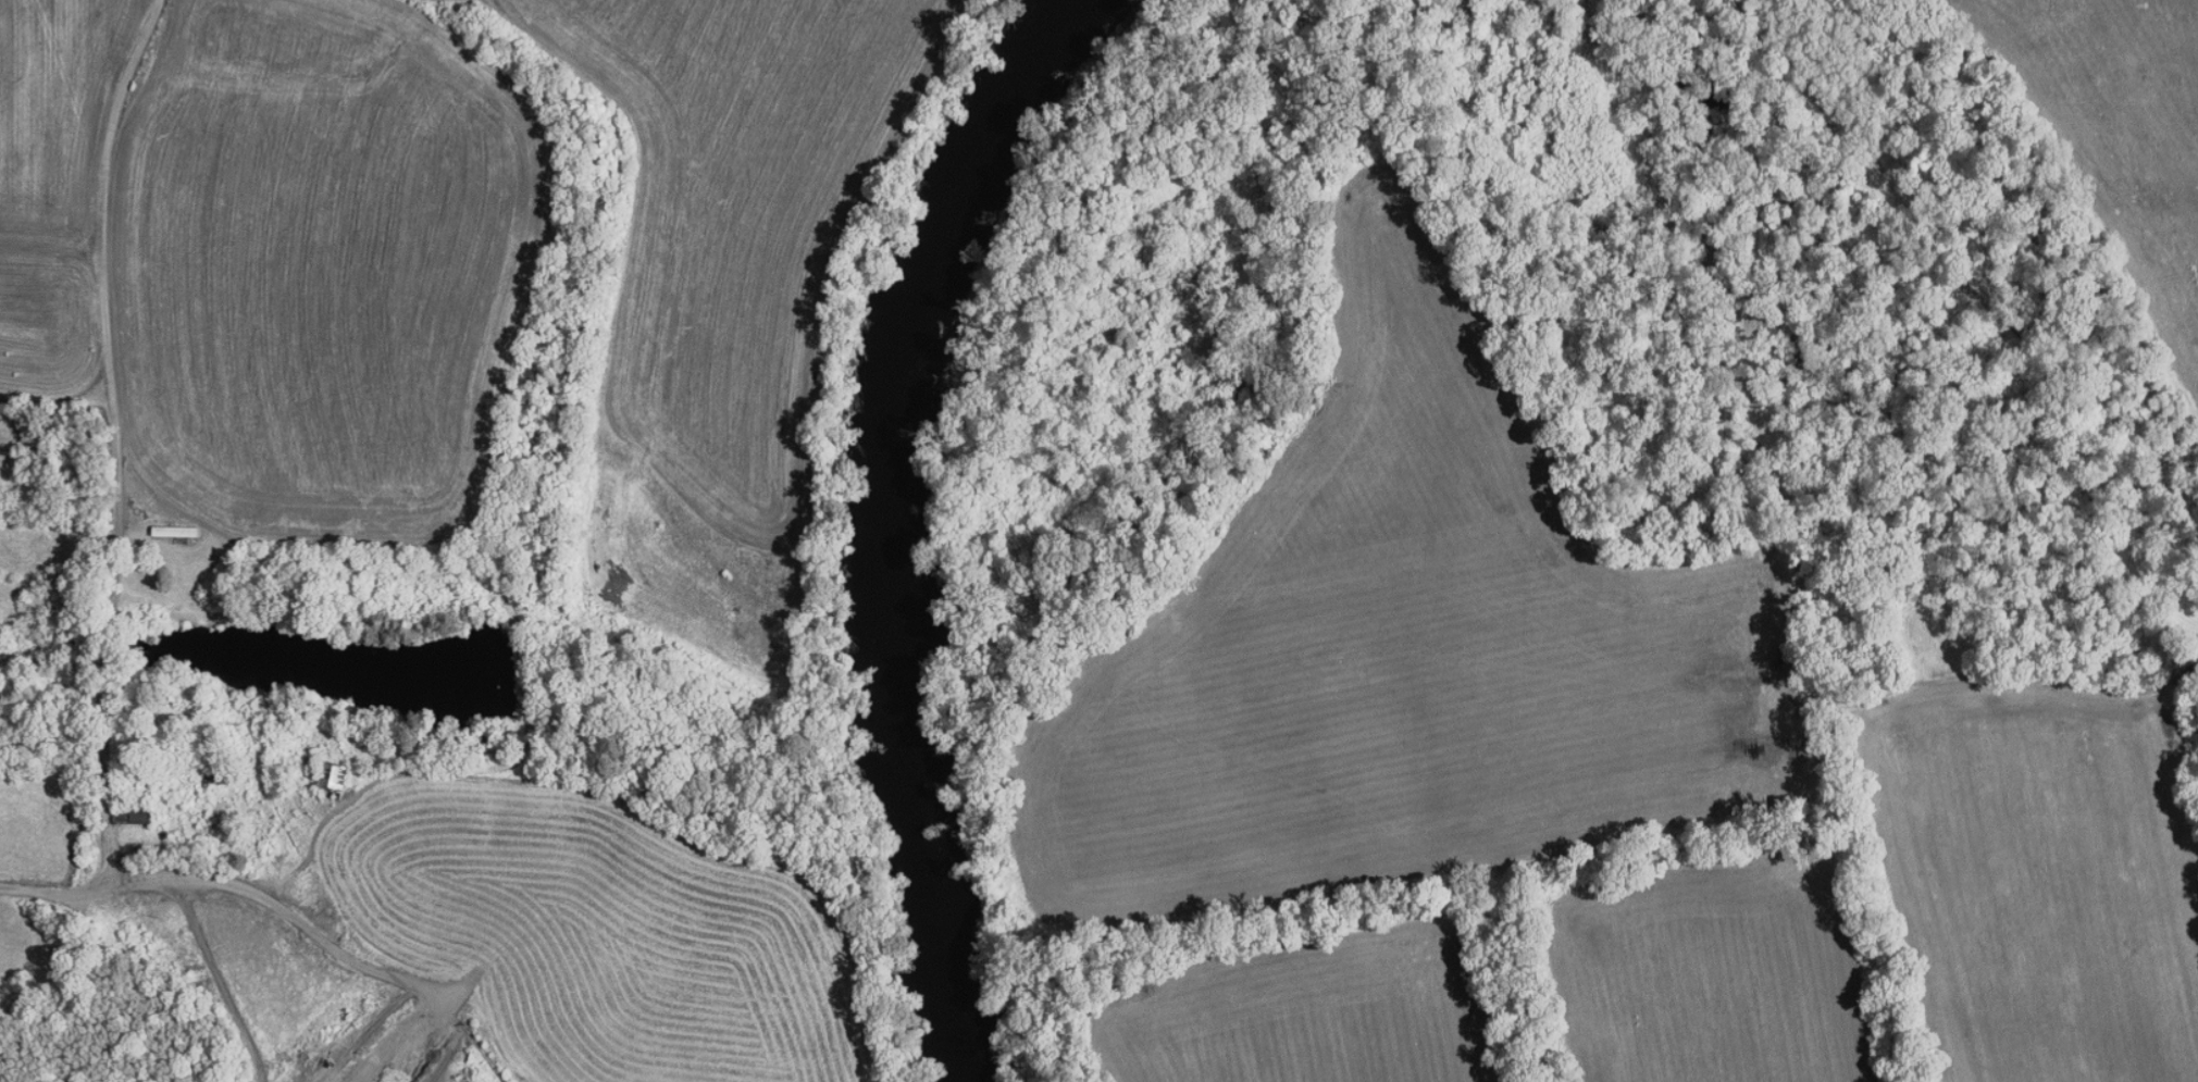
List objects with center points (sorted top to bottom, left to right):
road: (1773, 71)
road: (1723, 199)
river: (908, 326)
road: (63, 394)
road: (115, 489)
building: (160, 523)
road: (1866, 773)
river: (931, 884)

